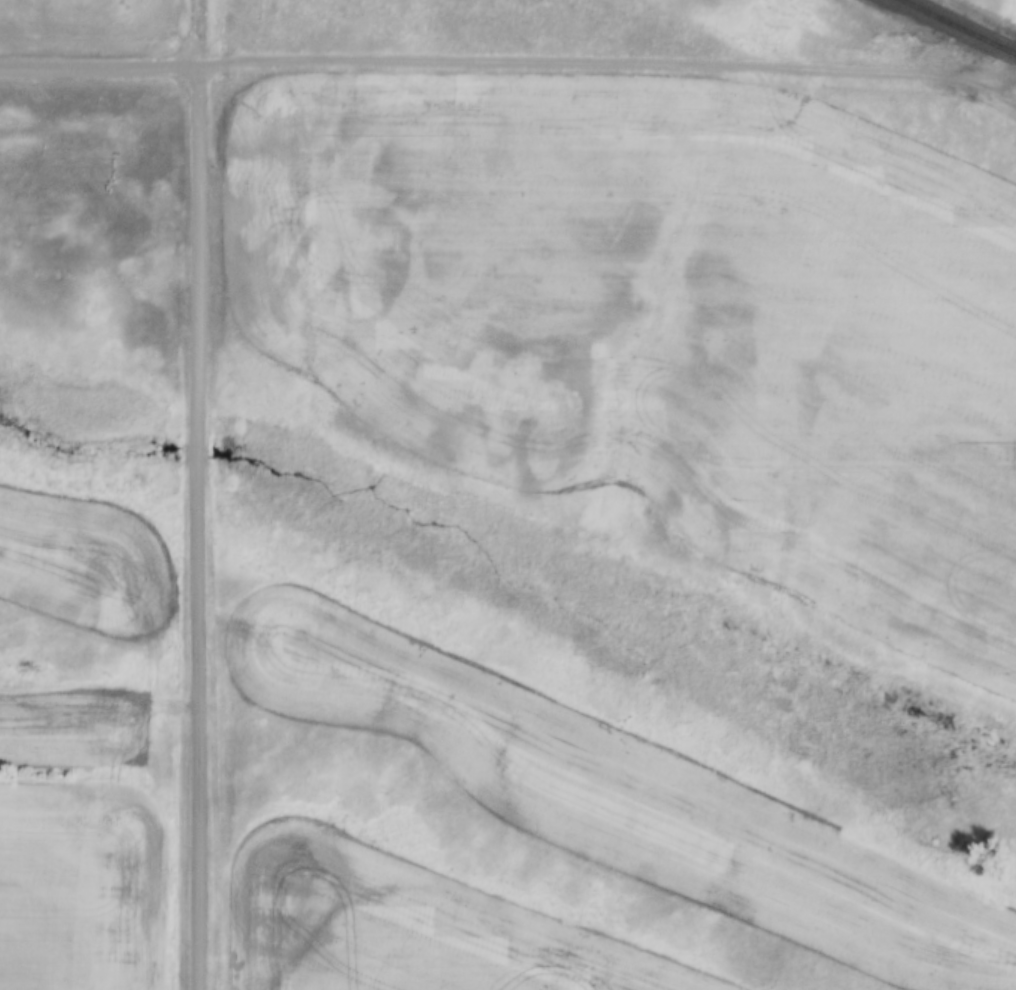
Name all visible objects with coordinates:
railway: (958, 27)
road: (199, 32)
road: (606, 61)
road: (98, 65)
road: (195, 527)

